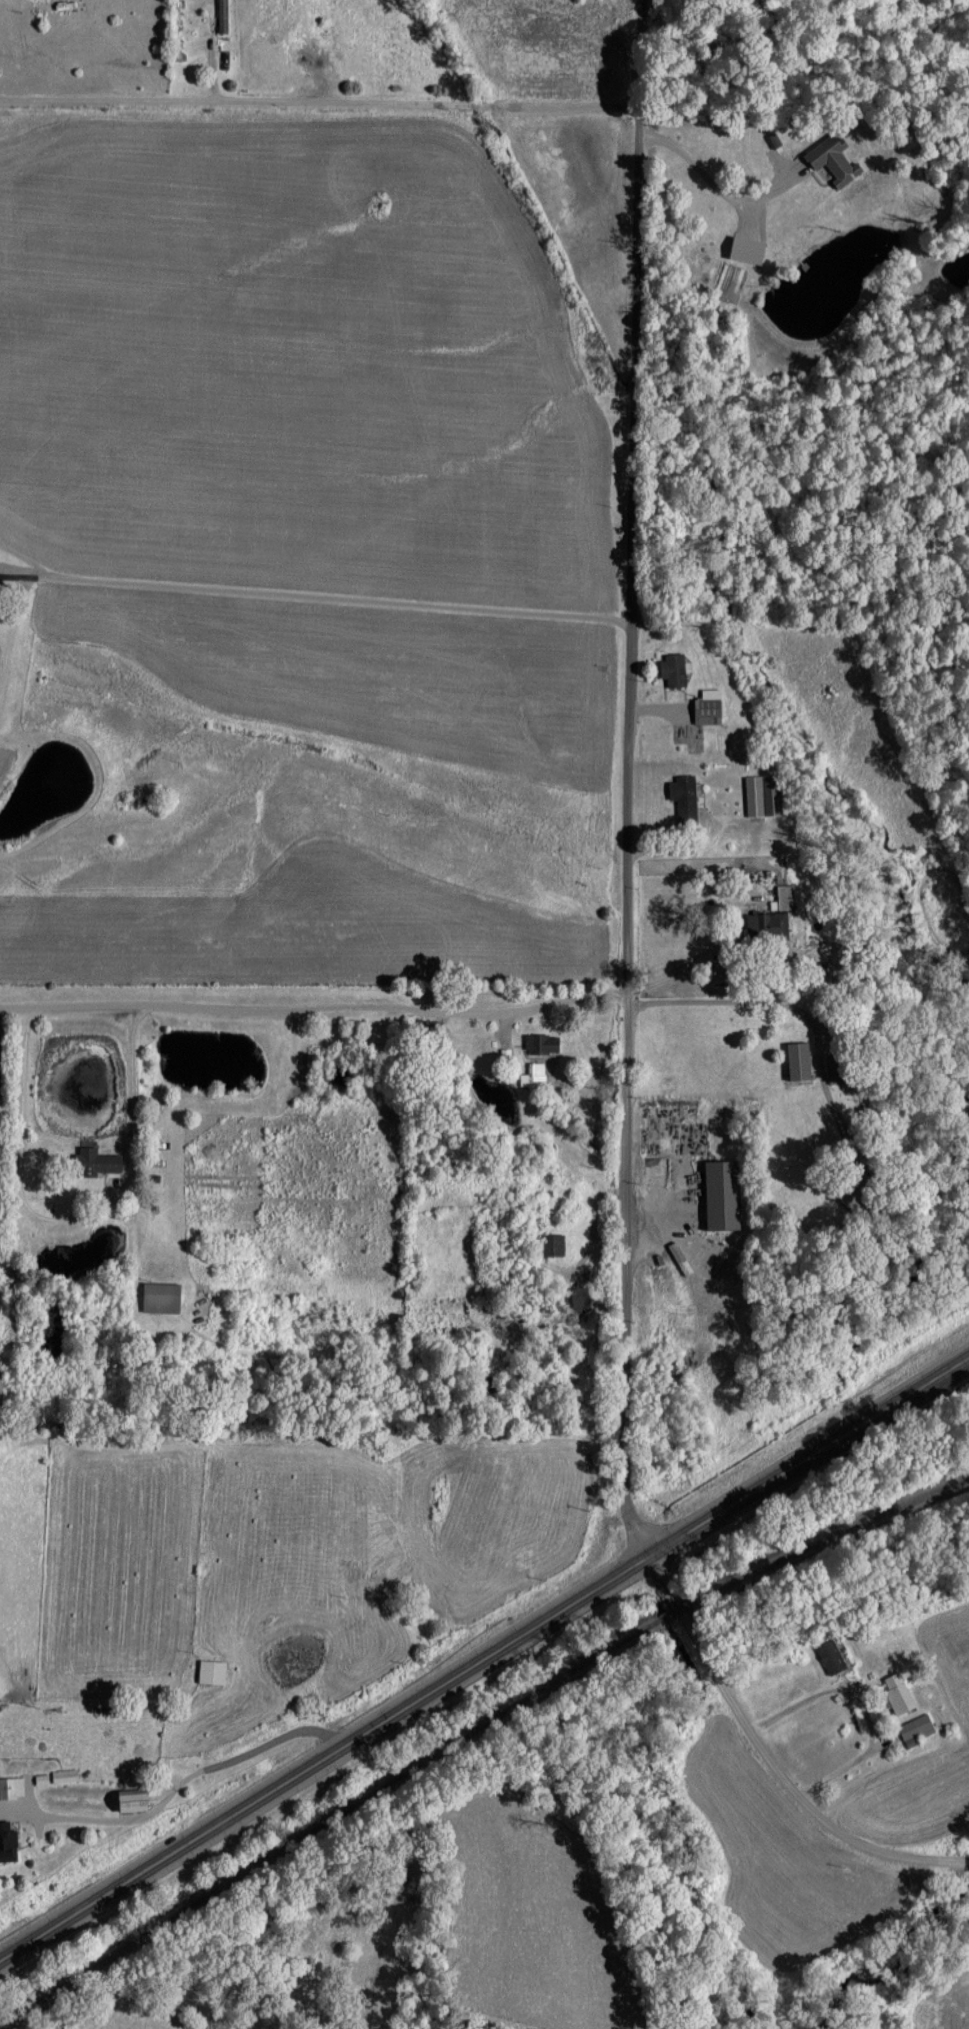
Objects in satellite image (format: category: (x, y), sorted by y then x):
road: (321, 104)
building: (833, 159)
building: (672, 669)
building: (707, 706)
road: (631, 779)
building: (762, 795)
building: (683, 798)
building: (782, 898)
building: (766, 924)
road: (786, 1004)
road: (317, 1010)
building: (541, 1044)
building: (798, 1061)
building: (836, 1067)
building: (533, 1075)
building: (95, 1162)
building: (721, 1196)
building: (551, 1245)
building: (160, 1296)
building: (579, 1299)
railway: (830, 1537)
railway: (675, 1613)
building: (830, 1655)
road: (484, 1656)
building: (210, 1671)
building: (898, 1693)
building: (916, 1729)
road: (761, 1760)
road: (180, 1780)
building: (11, 1787)
building: (132, 1799)
railway: (326, 1823)
building: (7, 1842)
road: (966, 1860)

